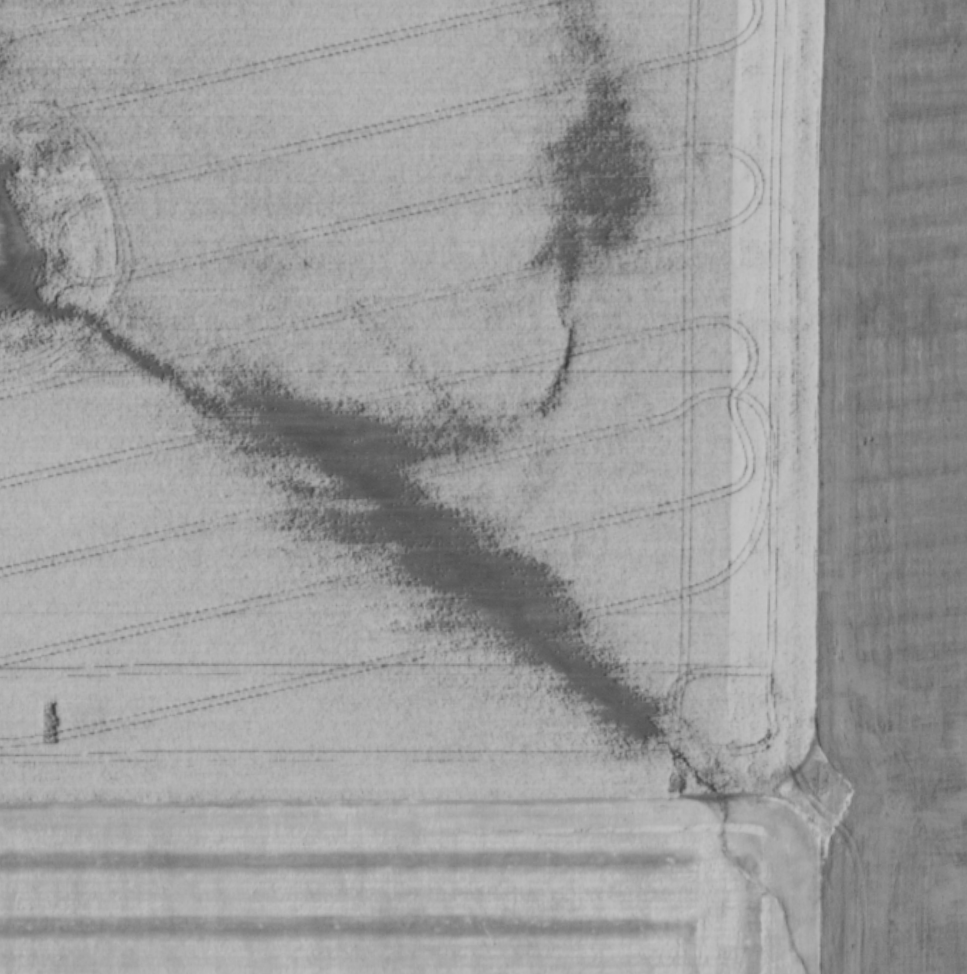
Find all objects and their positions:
road: (830, 374)

